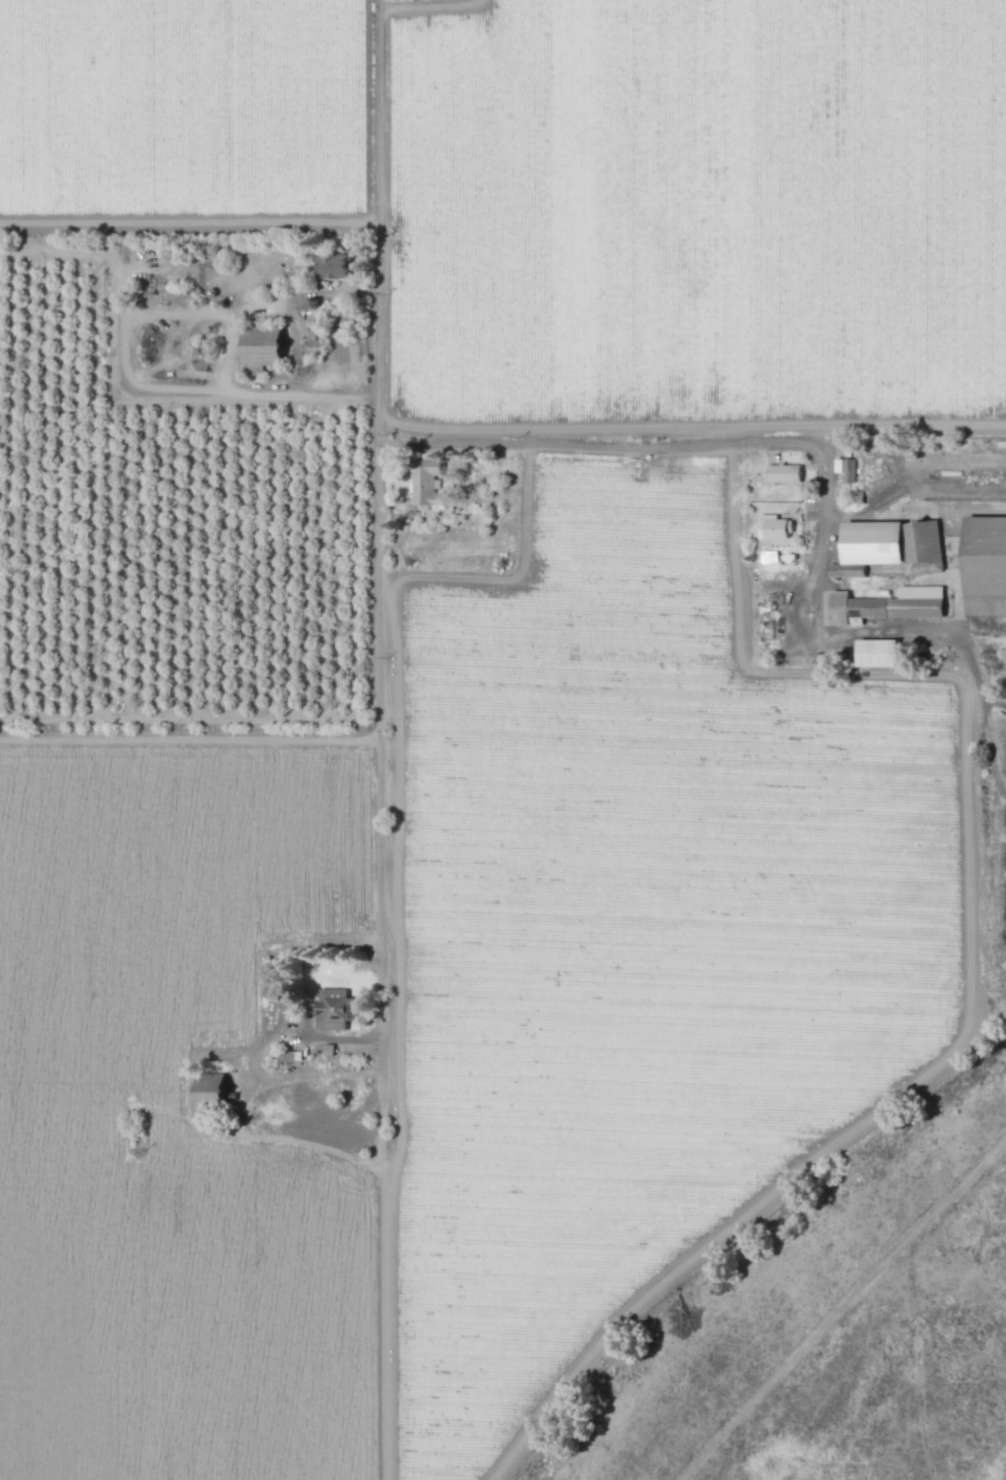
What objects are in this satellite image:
building: (336, 266)
road: (306, 296)
building: (265, 349)
road: (260, 396)
road: (645, 442)
road: (947, 458)
building: (847, 469)
building: (786, 474)
building: (426, 487)
road: (838, 514)
building: (775, 528)
building: (892, 547)
building: (771, 557)
building: (988, 565)
road: (514, 574)
building: (891, 605)
road: (842, 636)
building: (881, 653)
road: (381, 739)
road: (264, 962)
building: (335, 1009)
road: (324, 1038)
building: (286, 1058)
building: (216, 1089)

